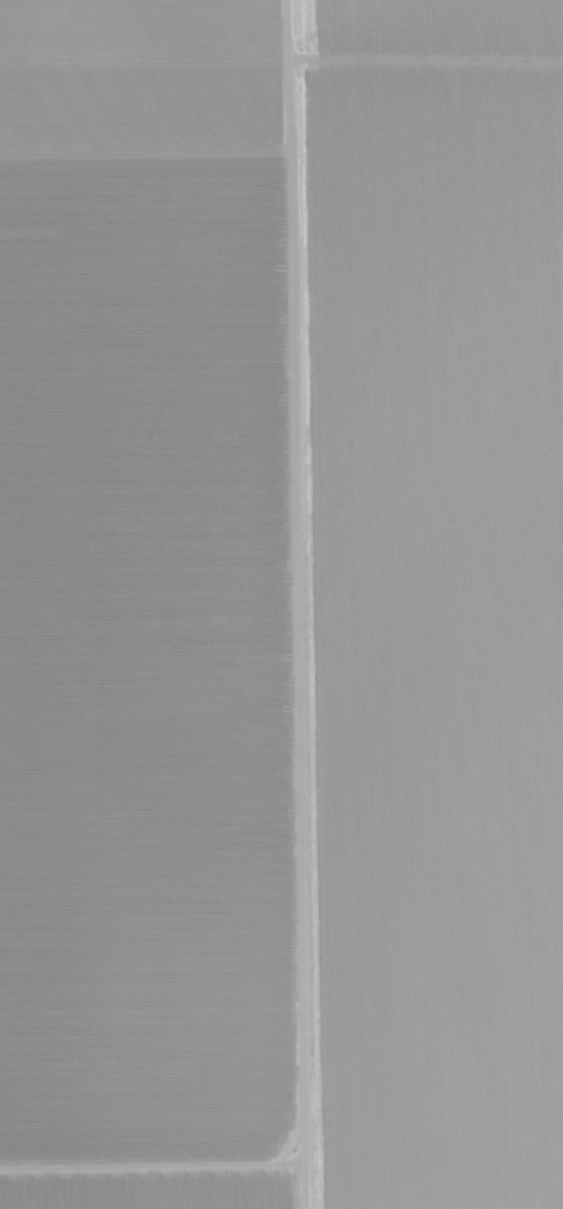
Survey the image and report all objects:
road: (308, 604)

